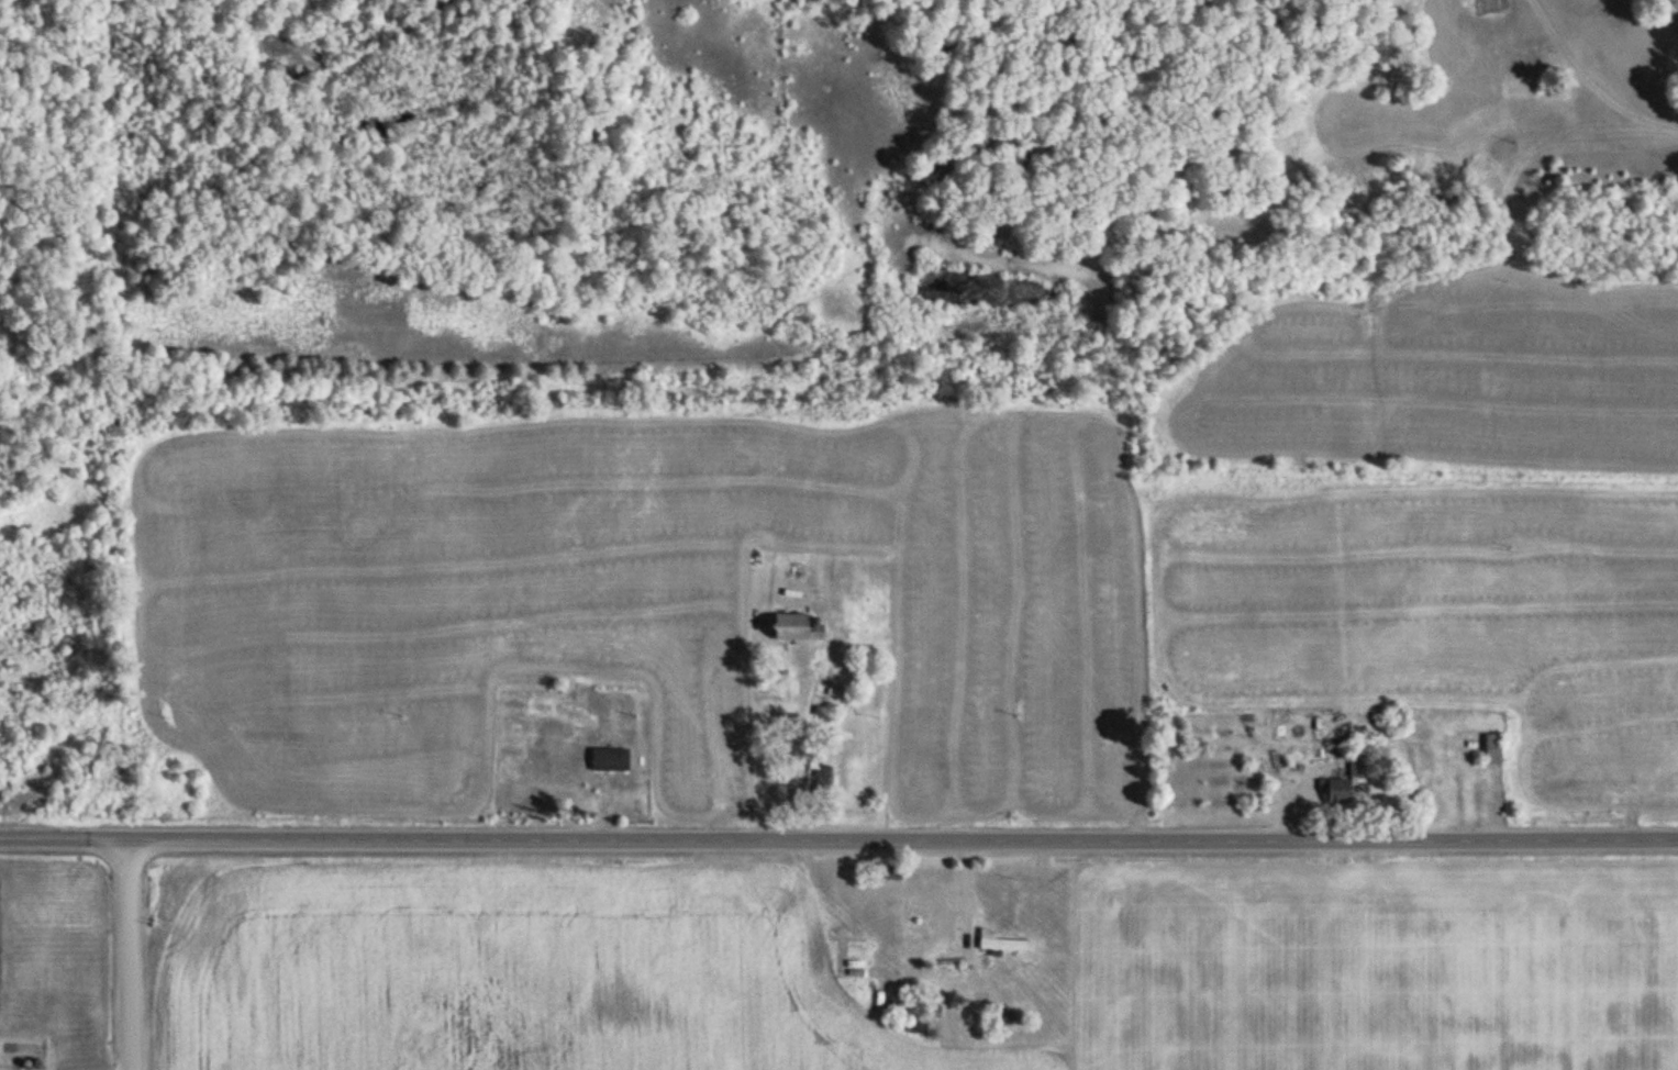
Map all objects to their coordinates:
road: (1596, 80)
building: (798, 626)
building: (846, 676)
building: (826, 679)
building: (1496, 748)
building: (612, 759)
road: (787, 759)
building: (1362, 765)
building: (816, 779)
building: (1338, 790)
road: (838, 840)
building: (890, 871)
building: (1008, 945)
road: (138, 957)
building: (912, 1016)

